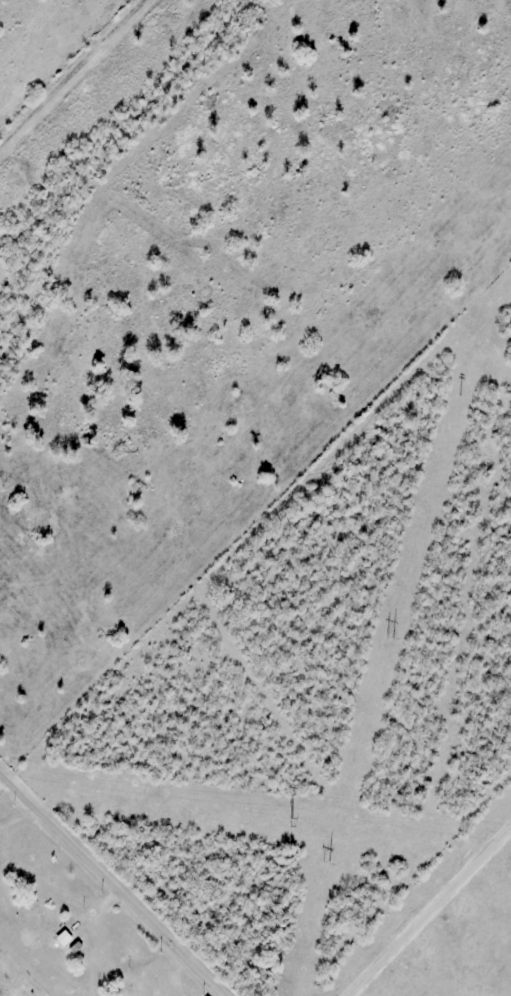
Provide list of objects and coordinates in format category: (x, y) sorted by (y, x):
power tower: (290, 822)
road: (117, 880)
road: (433, 914)
building: (43, 928)

